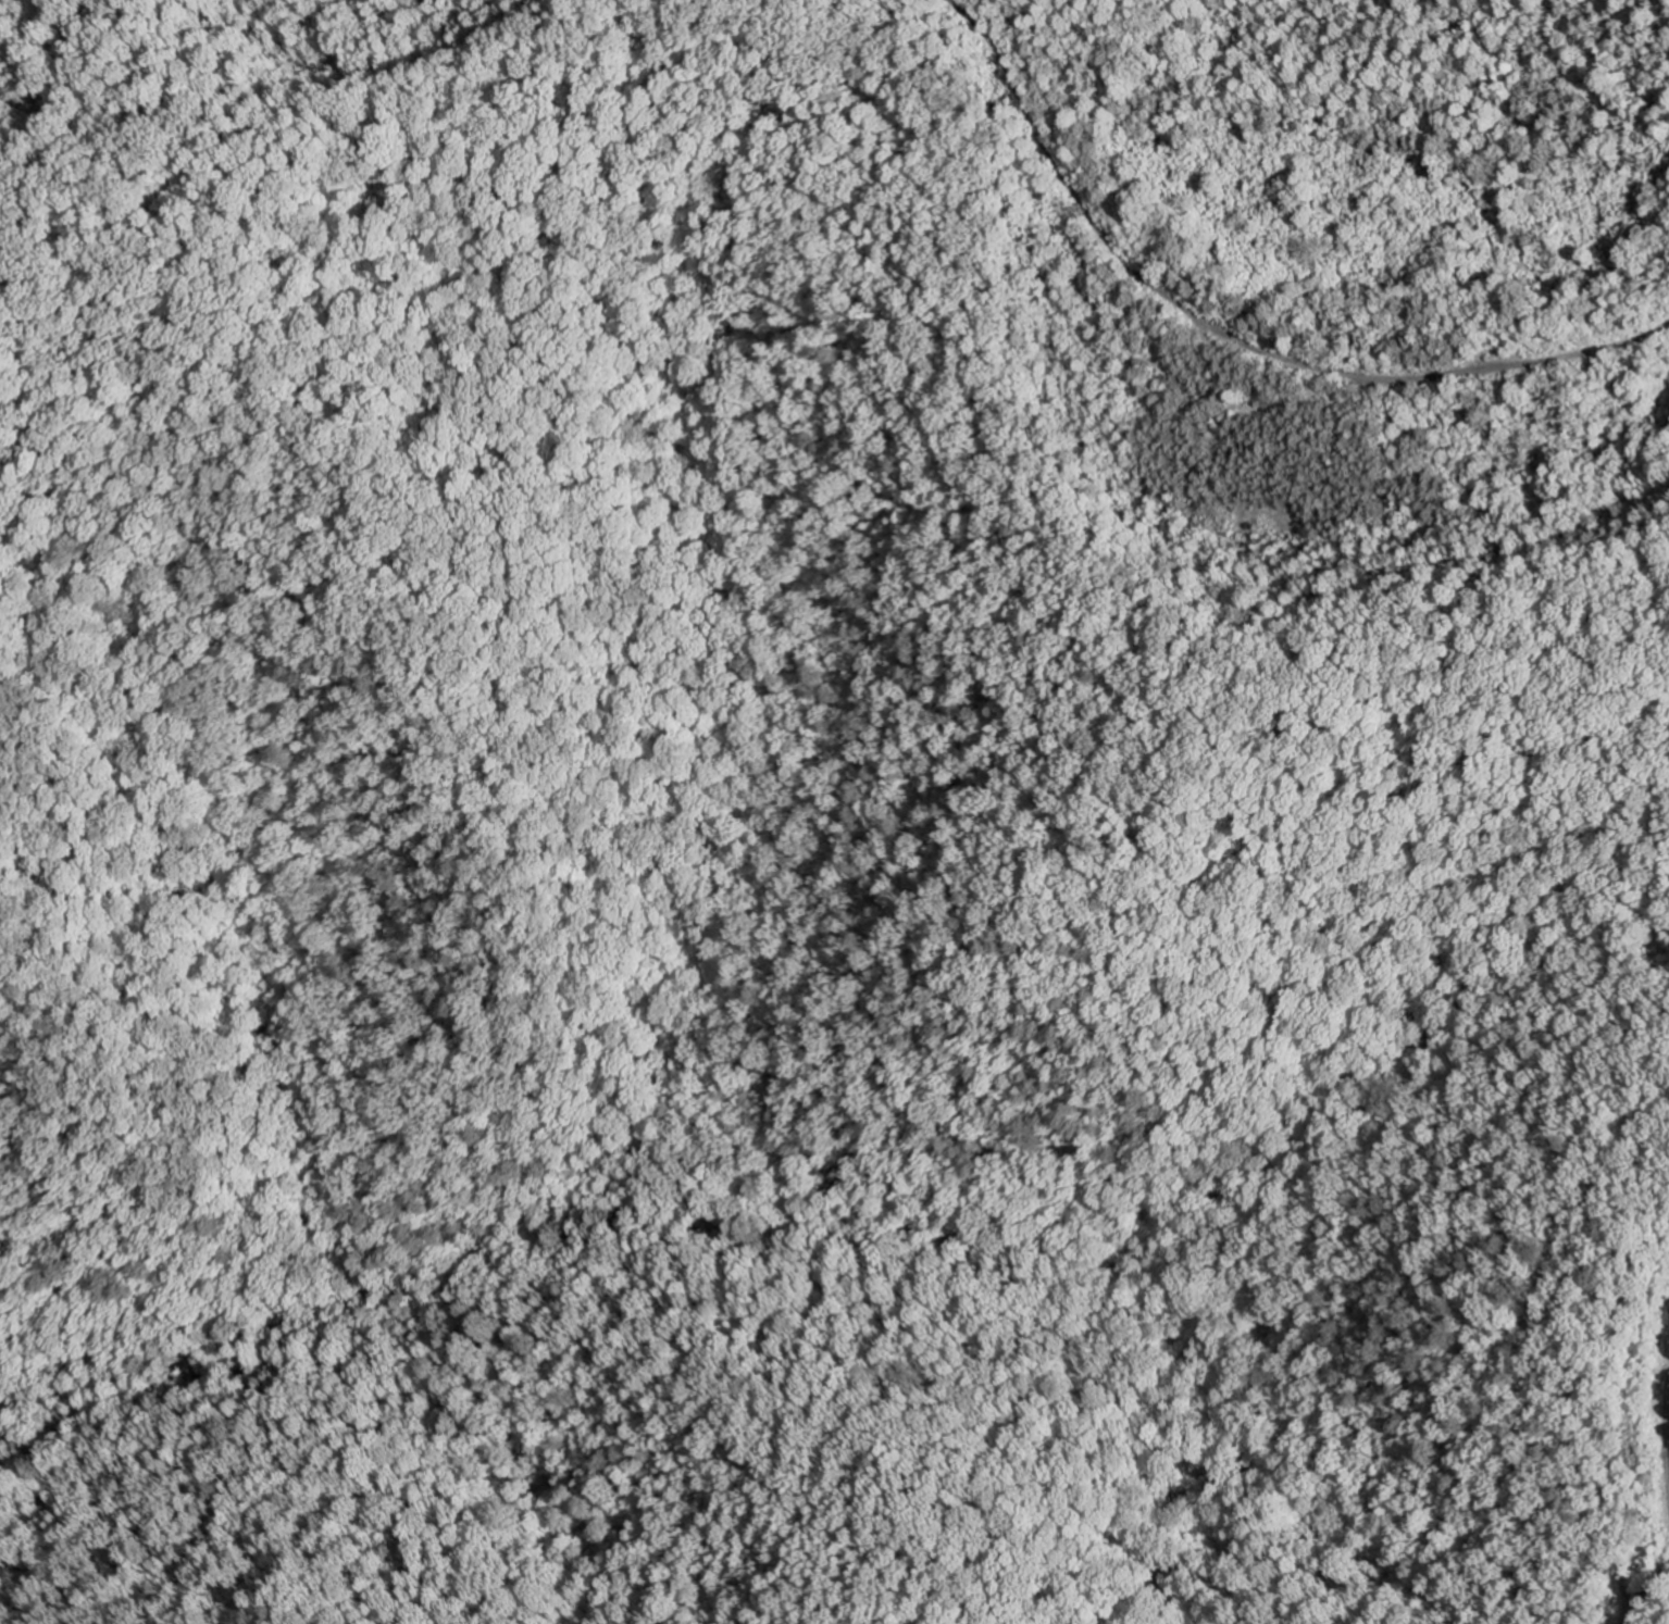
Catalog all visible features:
road: (1159, 387)
road: (1662, 910)
road: (882, 1266)
road: (1594, 1281)

